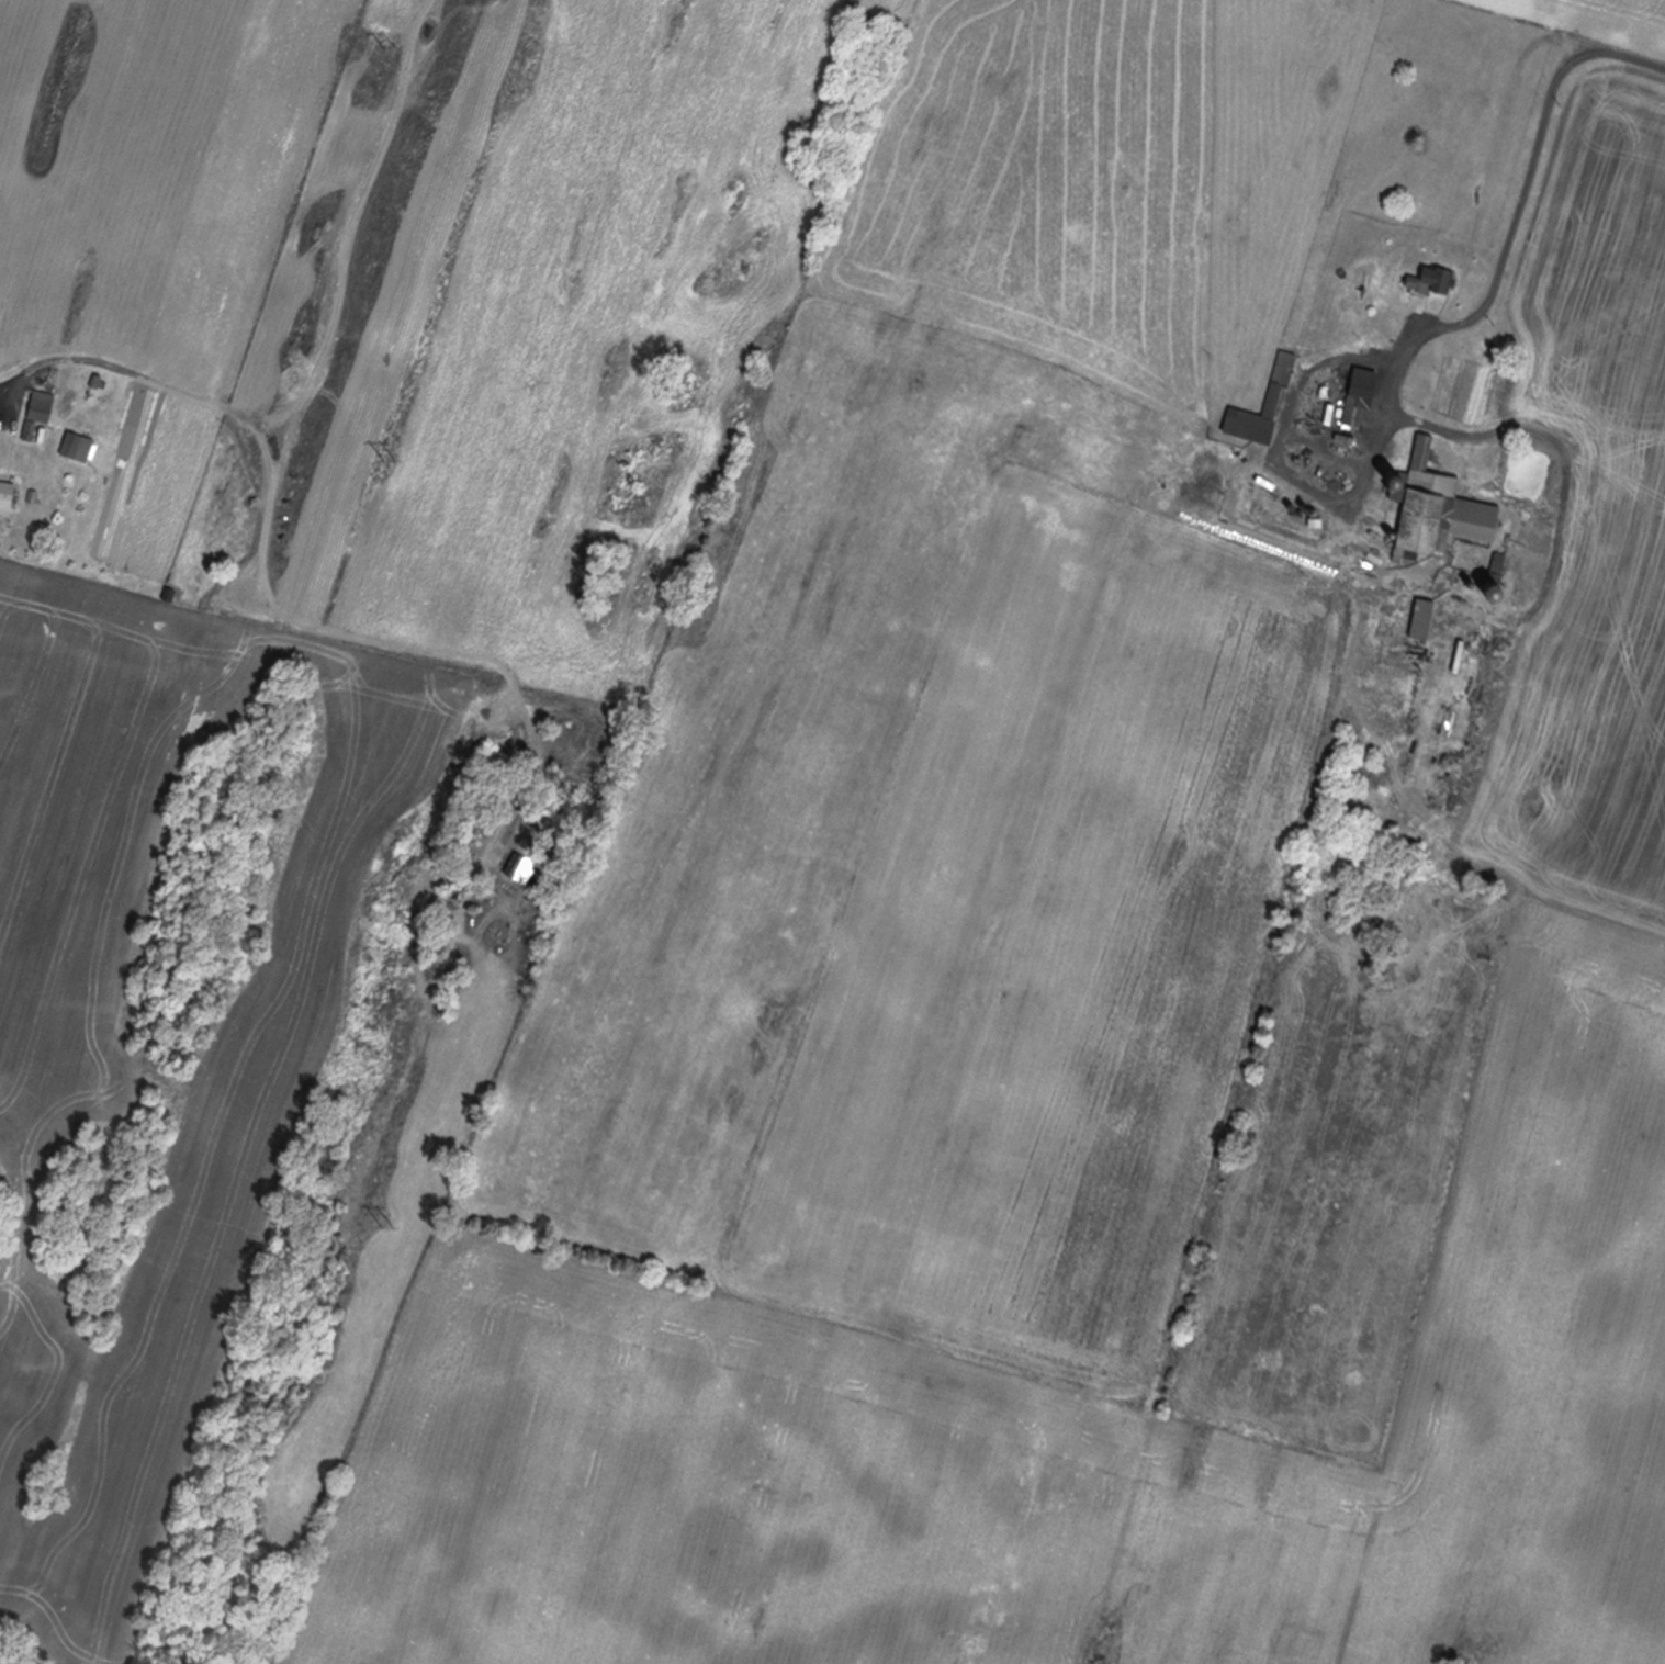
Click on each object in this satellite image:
power tower: (385, 42)
road: (1478, 215)
building: (1422, 282)
building: (1271, 380)
building: (1349, 397)
building: (43, 414)
building: (82, 445)
power tower: (384, 454)
building: (11, 492)
building: (1425, 509)
building: (1409, 619)
power tower: (382, 1219)

